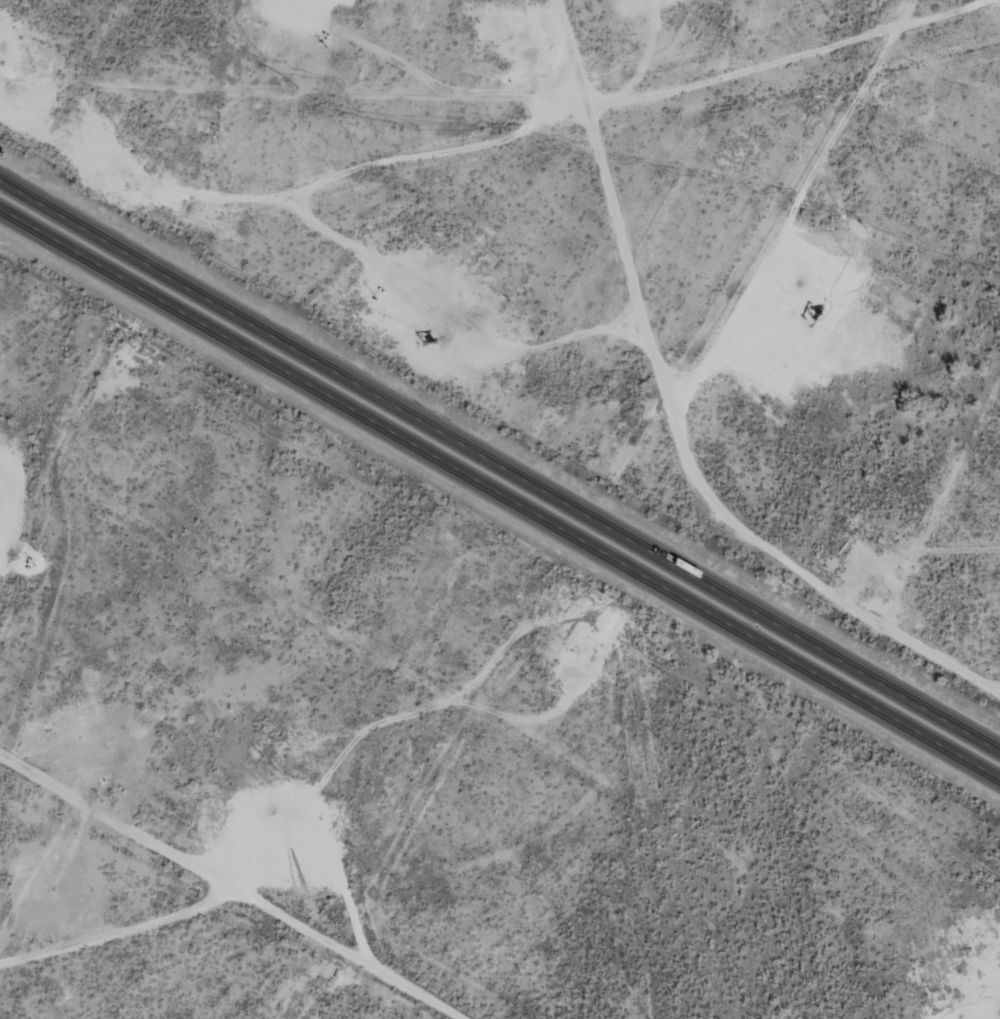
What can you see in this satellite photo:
road: (500, 467)
road: (500, 494)
road: (232, 885)

